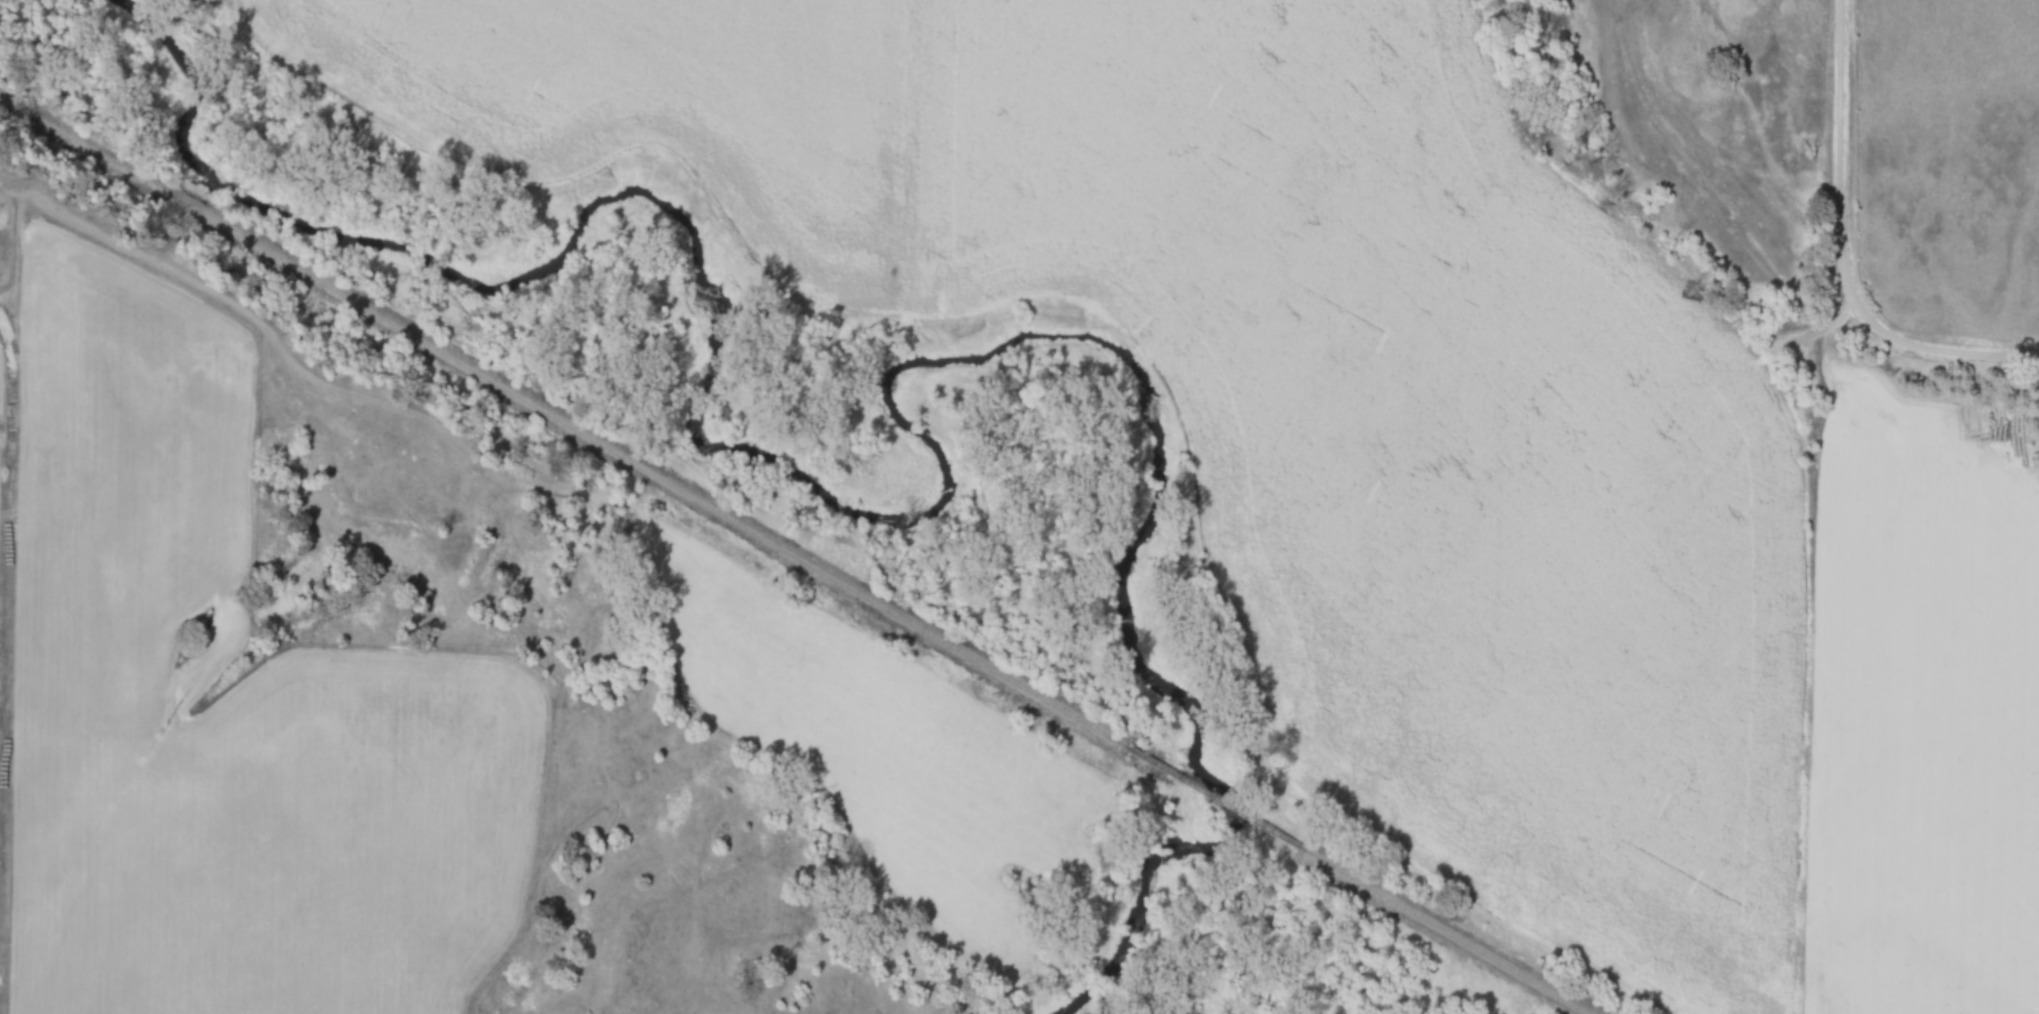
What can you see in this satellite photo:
crop: (654, 103)
road: (1840, 129)
road: (1915, 344)
railway: (570, 423)
crop: (1428, 444)
crop: (1931, 727)
railway: (1229, 806)
railway: (1452, 936)

